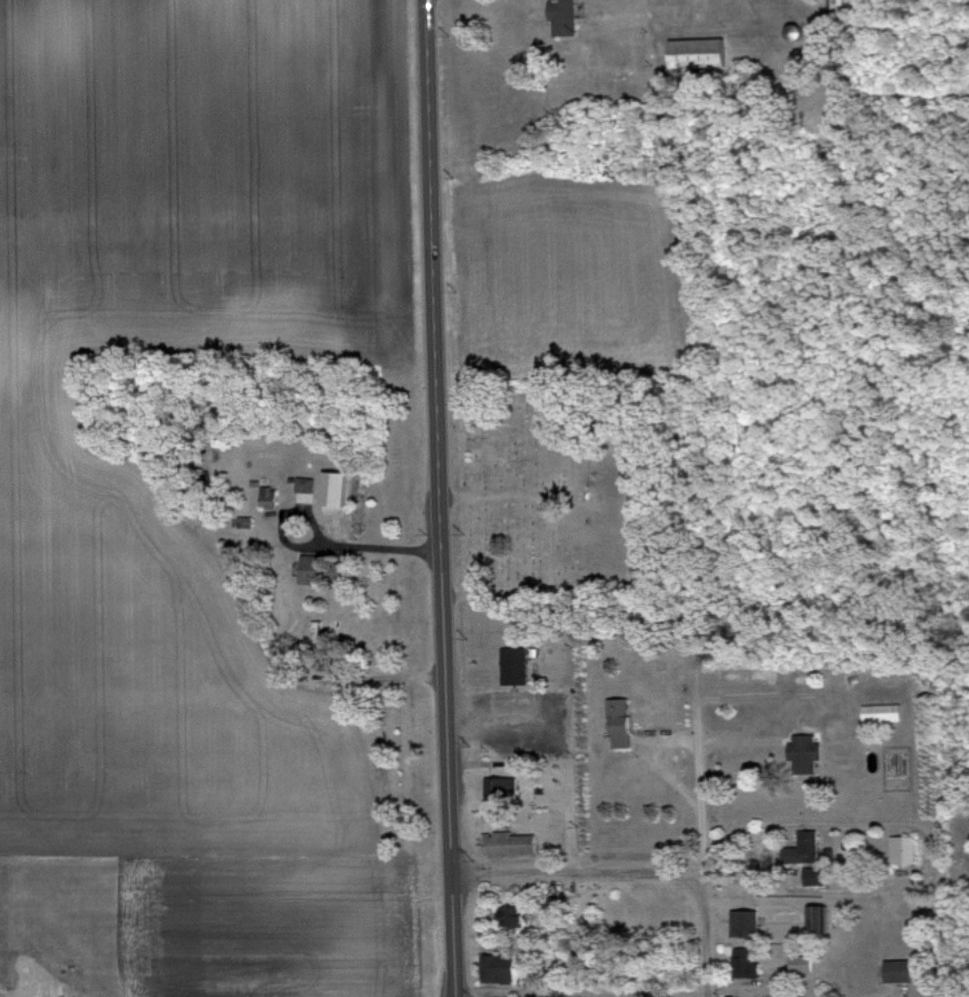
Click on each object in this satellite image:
building: (835, 4)
road: (650, 15)
building: (702, 52)
building: (340, 489)
park: (556, 494)
road: (438, 498)
road: (390, 548)
building: (516, 667)
road: (418, 677)
building: (884, 713)
building: (624, 716)
road: (563, 741)
building: (808, 754)
building: (510, 788)
building: (513, 844)
building: (809, 847)
road: (704, 848)
building: (906, 850)
road: (579, 874)
building: (516, 918)
building: (821, 919)
building: (748, 923)
building: (747, 964)
building: (803, 964)
building: (500, 969)

